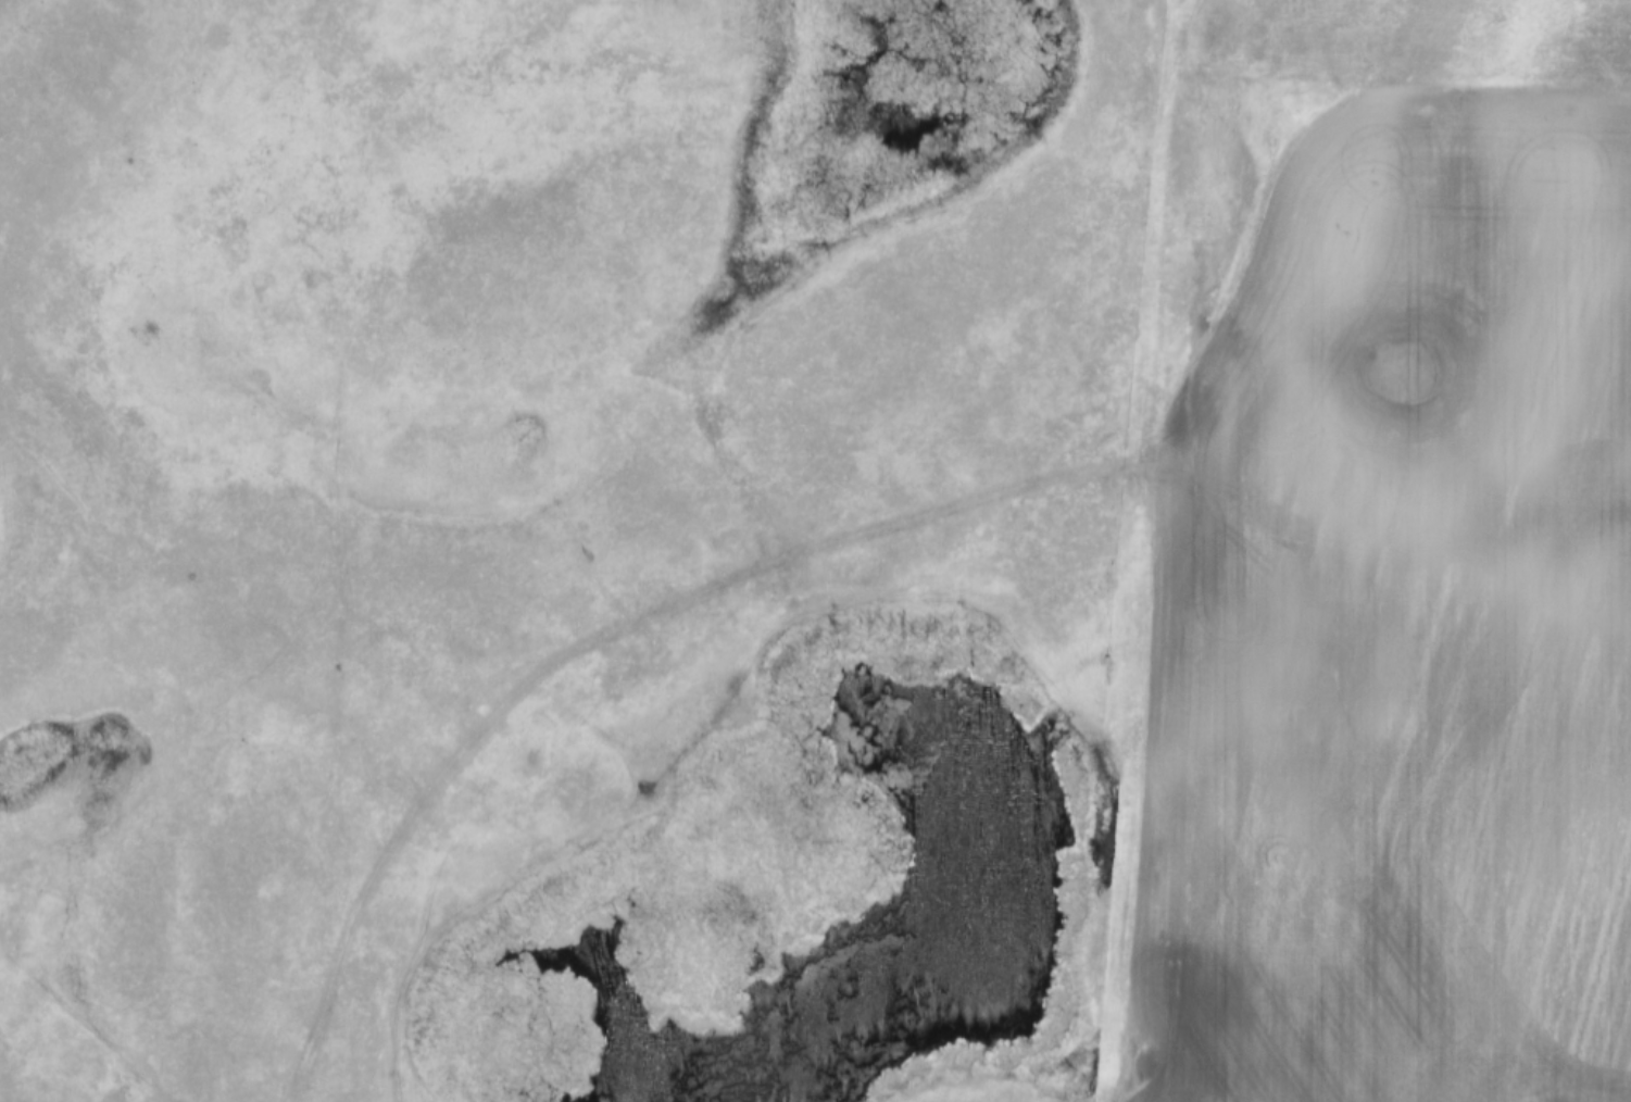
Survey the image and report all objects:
road: (1149, 550)

